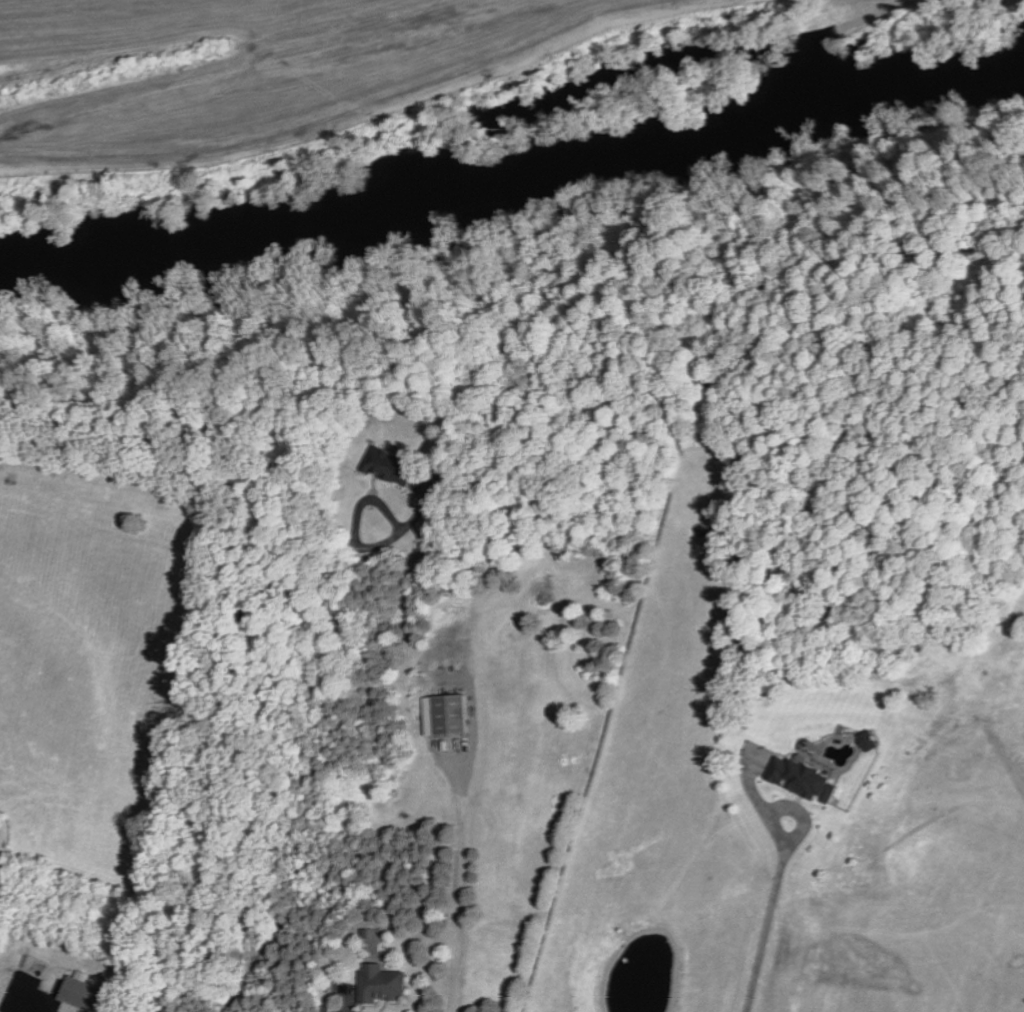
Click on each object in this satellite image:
river: (515, 170)
building: (388, 467)
building: (444, 715)
building: (866, 741)
building: (799, 778)
road: (785, 807)
road: (463, 881)
road: (765, 931)
building: (378, 984)
building: (79, 995)

